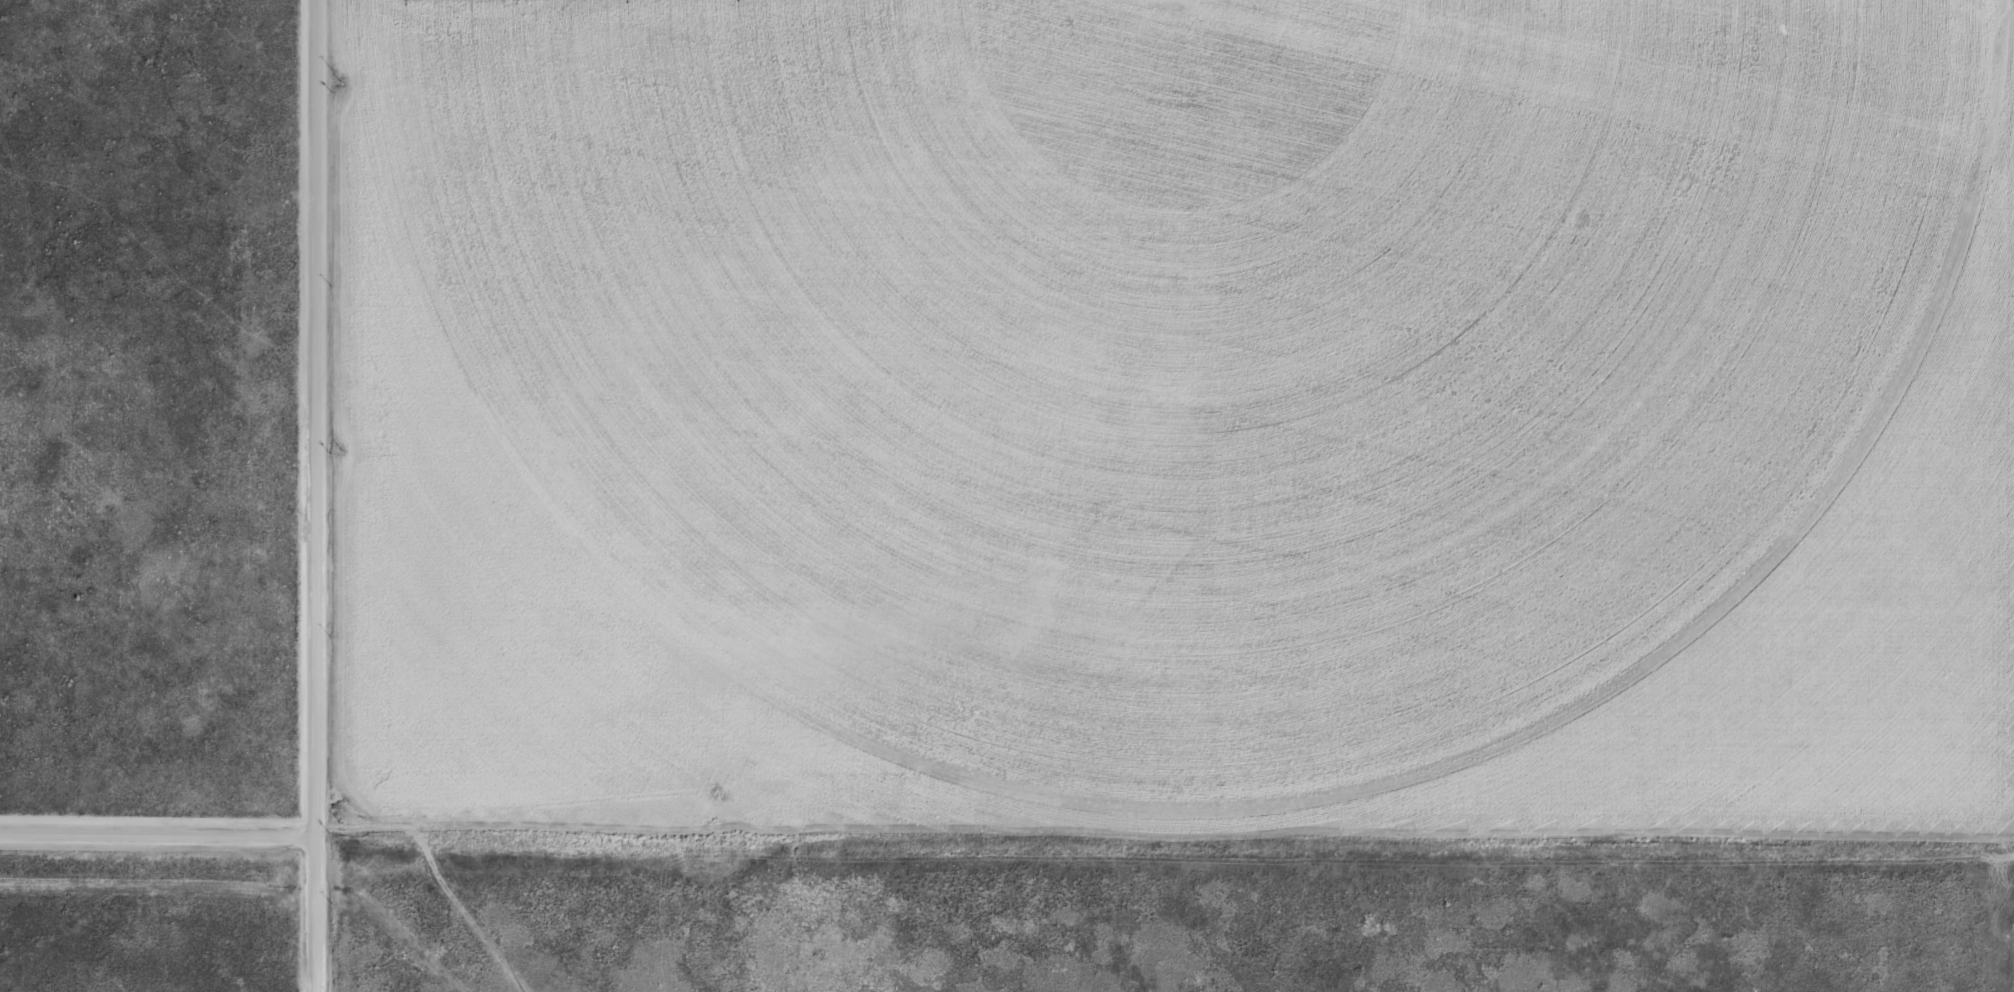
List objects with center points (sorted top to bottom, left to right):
road: (343, 495)
road: (1006, 835)

